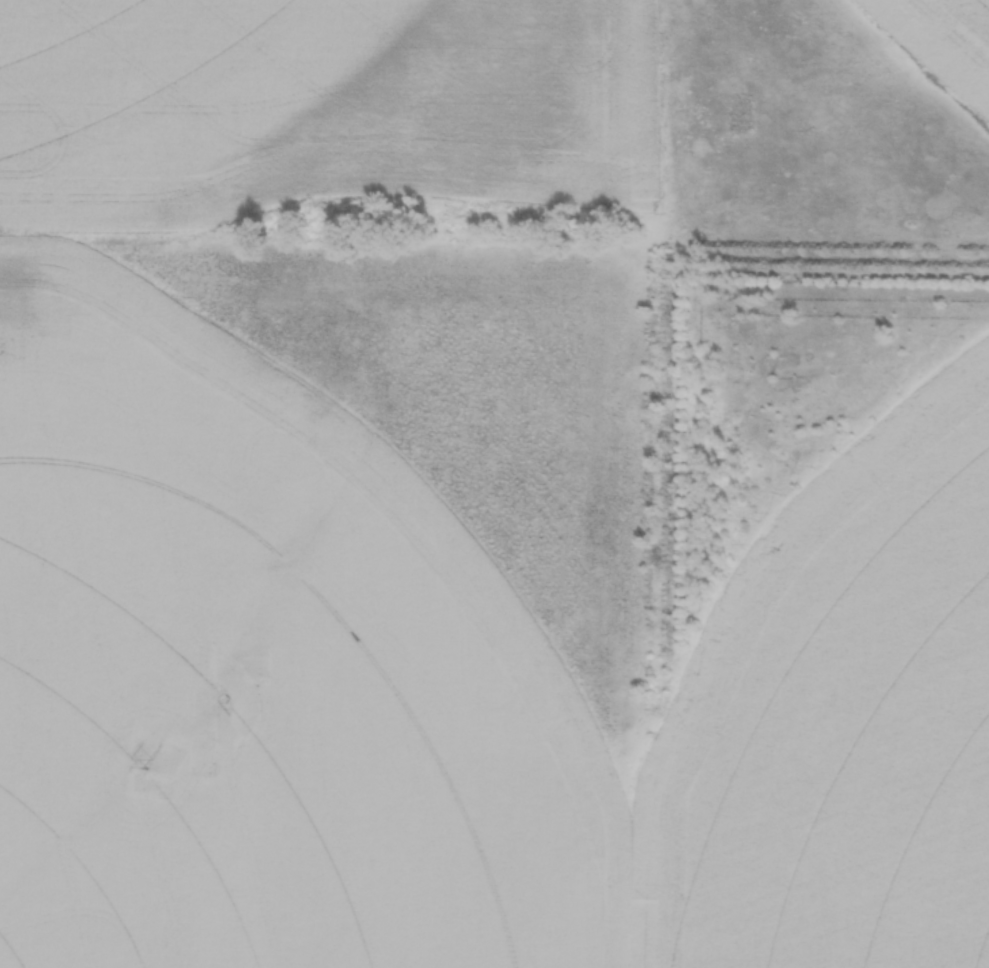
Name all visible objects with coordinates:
power tower: (148, 765)

